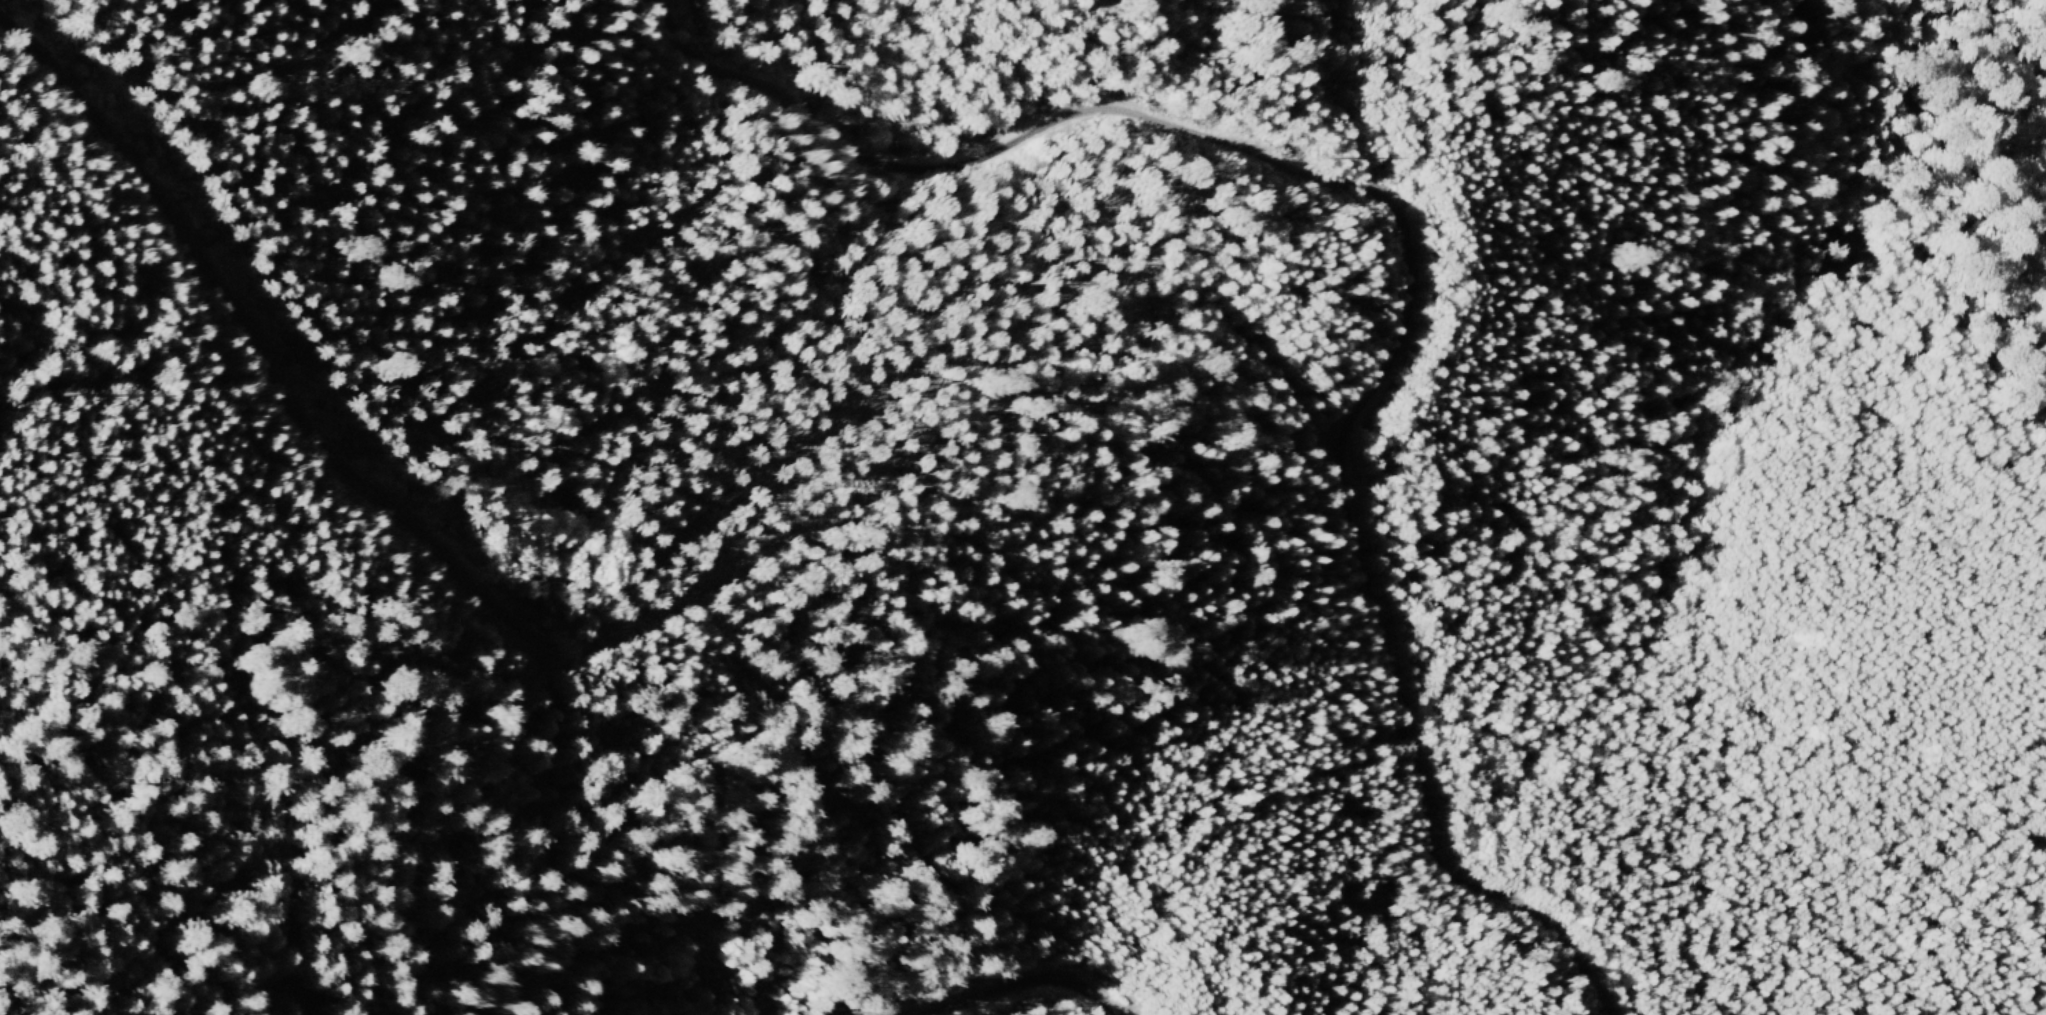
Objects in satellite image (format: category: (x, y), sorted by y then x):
road: (1407, 270)
road: (263, 344)
road: (1023, 986)

